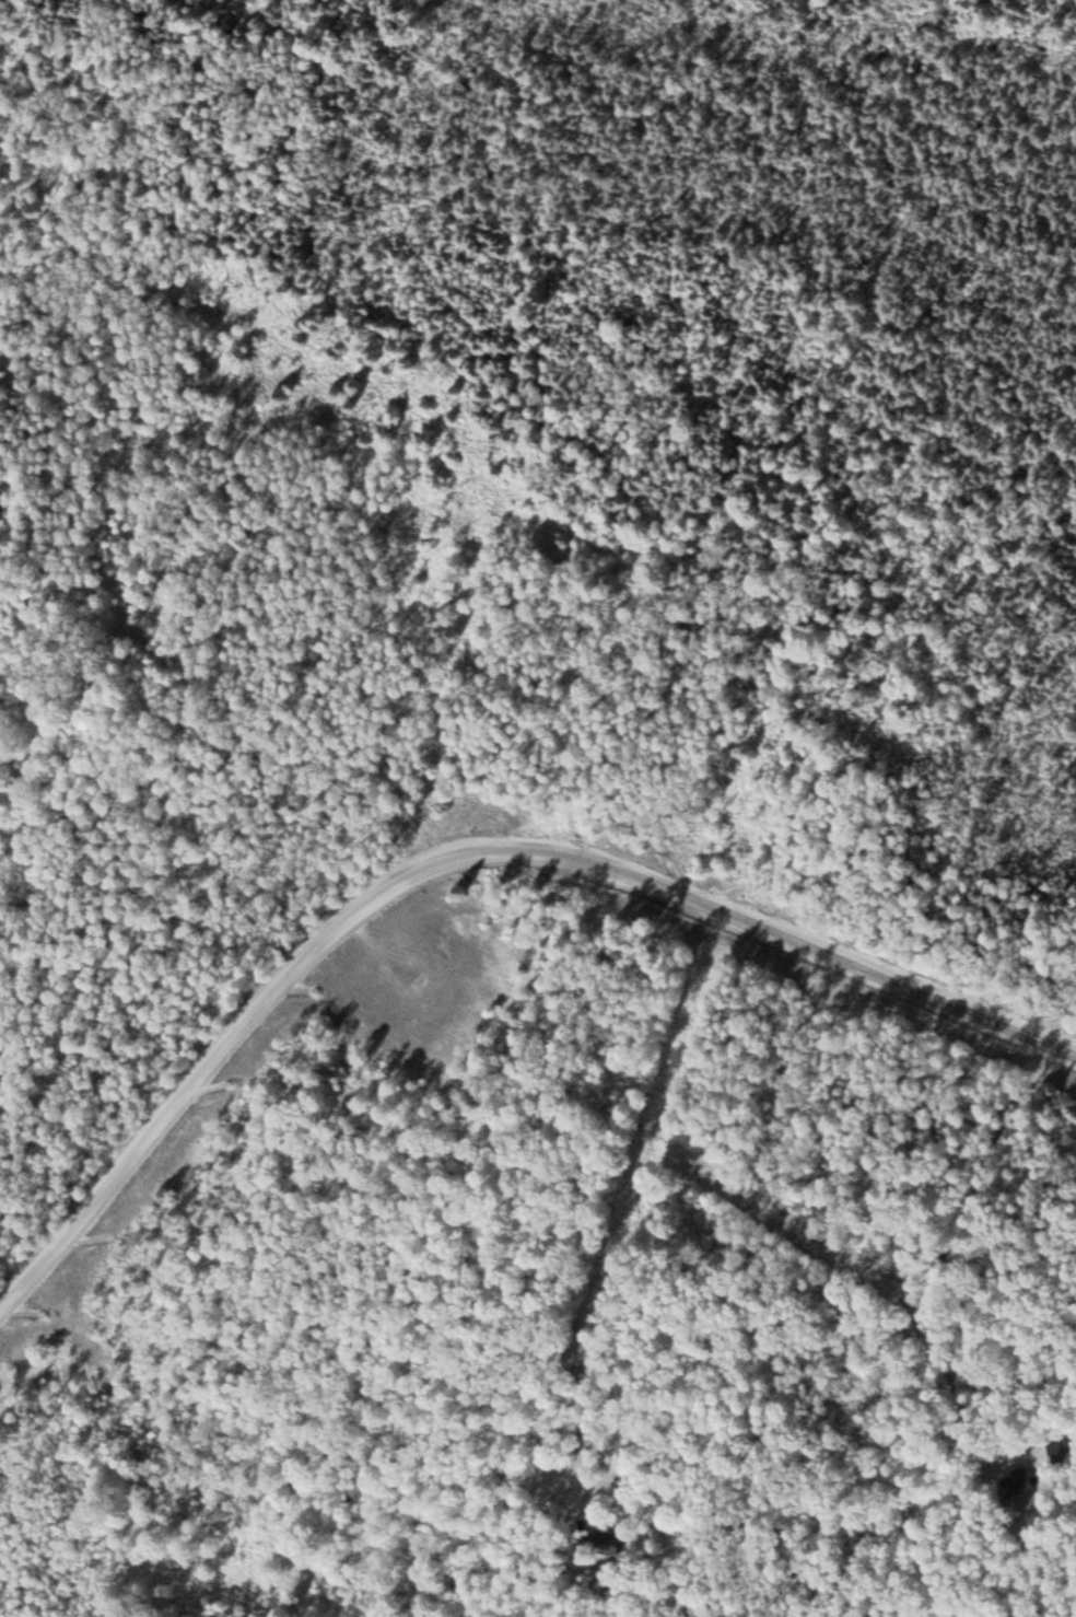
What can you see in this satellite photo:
road: (458, 864)
road: (629, 1201)
building: (1017, 1485)
building: (605, 1547)

